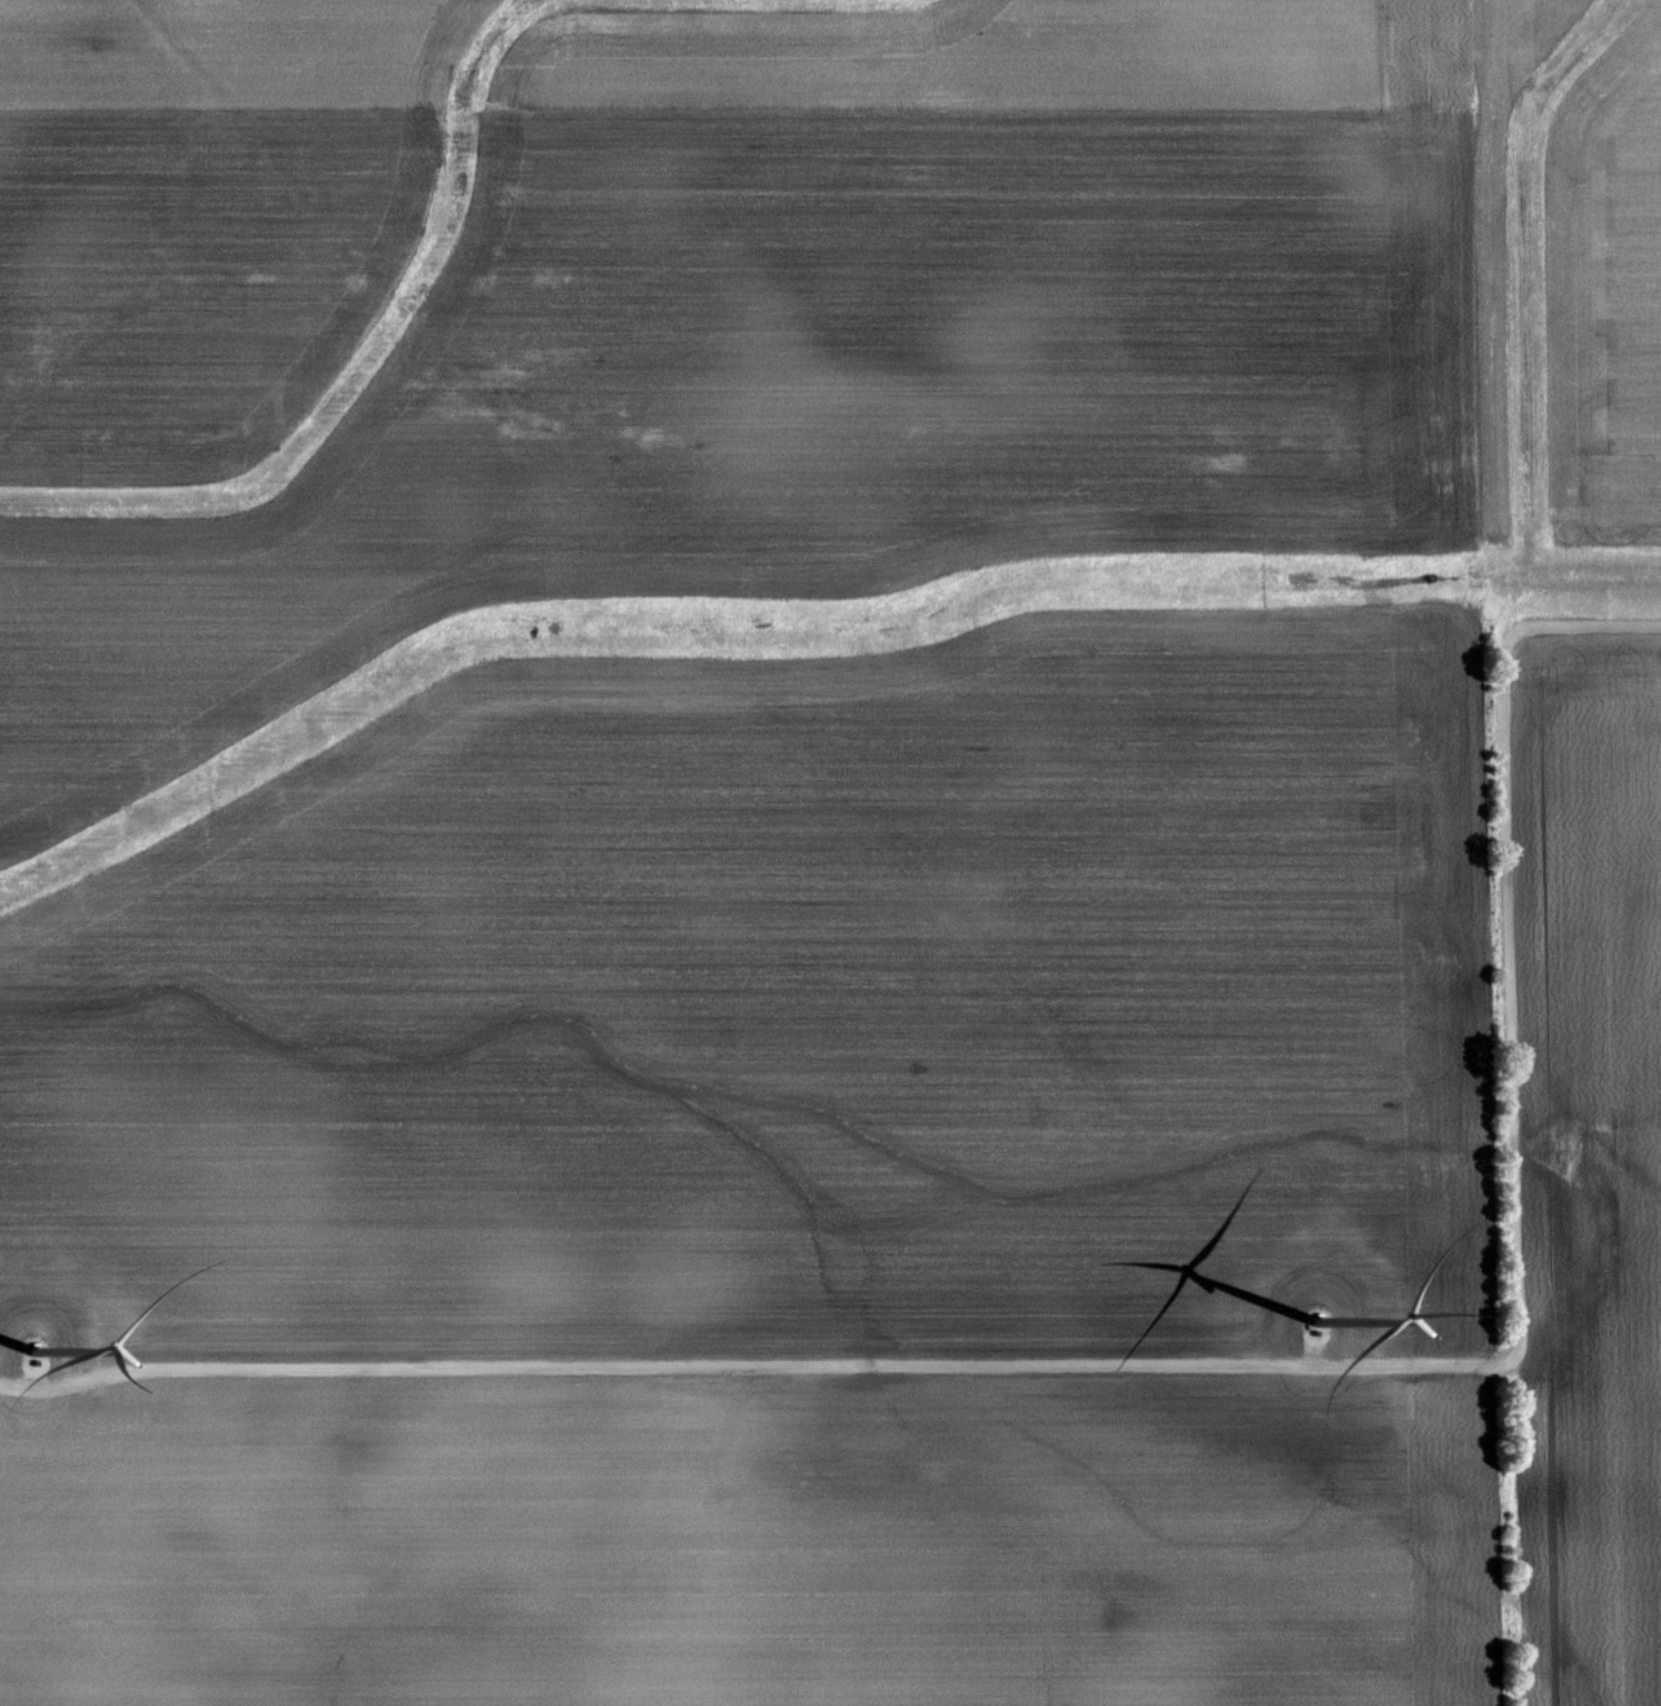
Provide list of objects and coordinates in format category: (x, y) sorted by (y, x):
wind turbine: (46, 1349)
wind turbine: (1319, 1352)
road: (1193, 1363)

